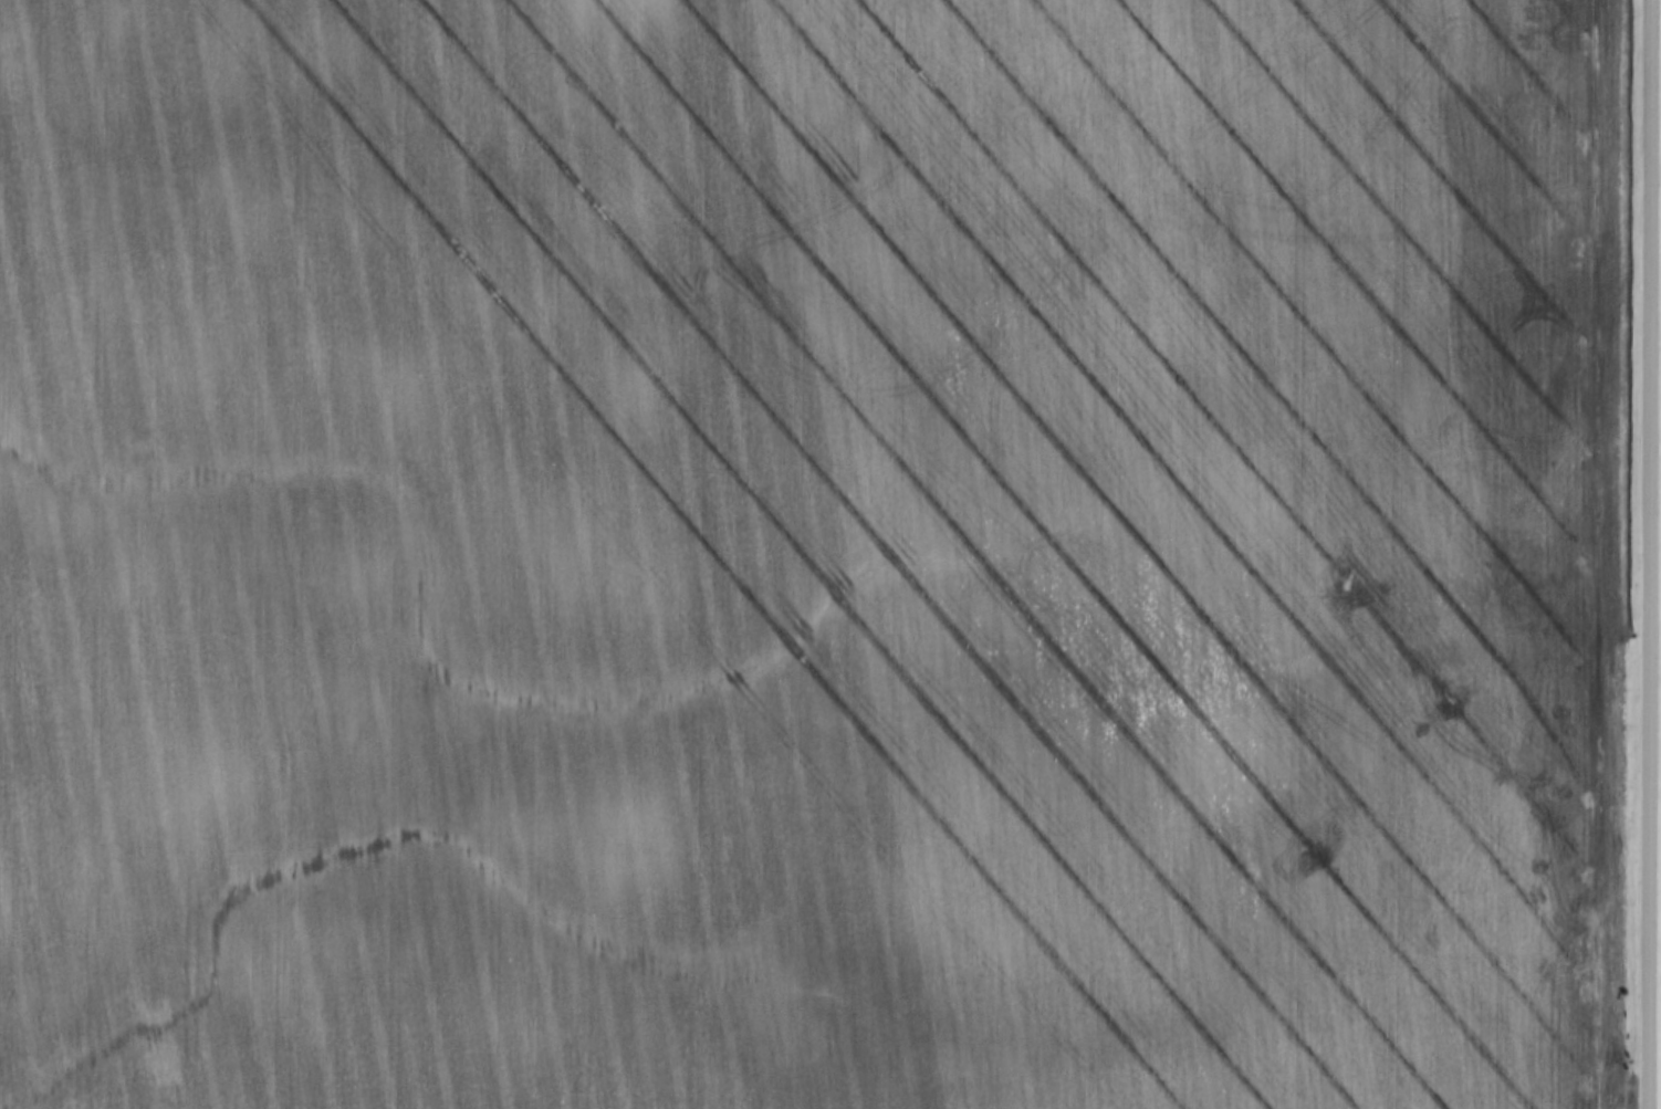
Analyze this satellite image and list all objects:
road: (1652, 554)

